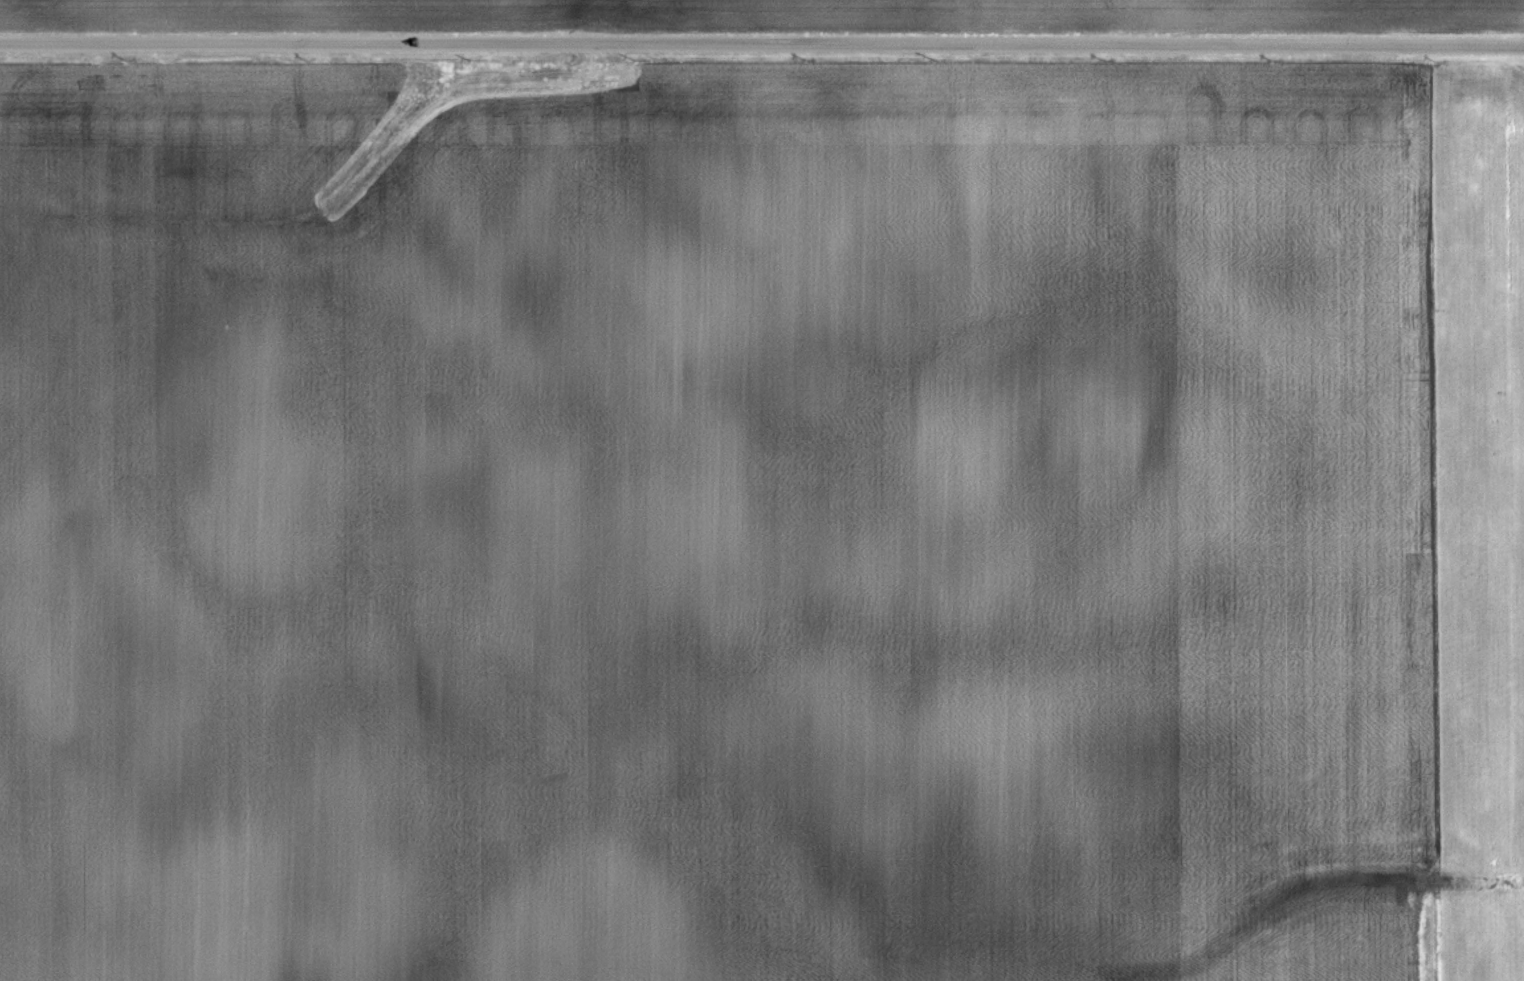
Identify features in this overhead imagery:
road: (762, 47)

